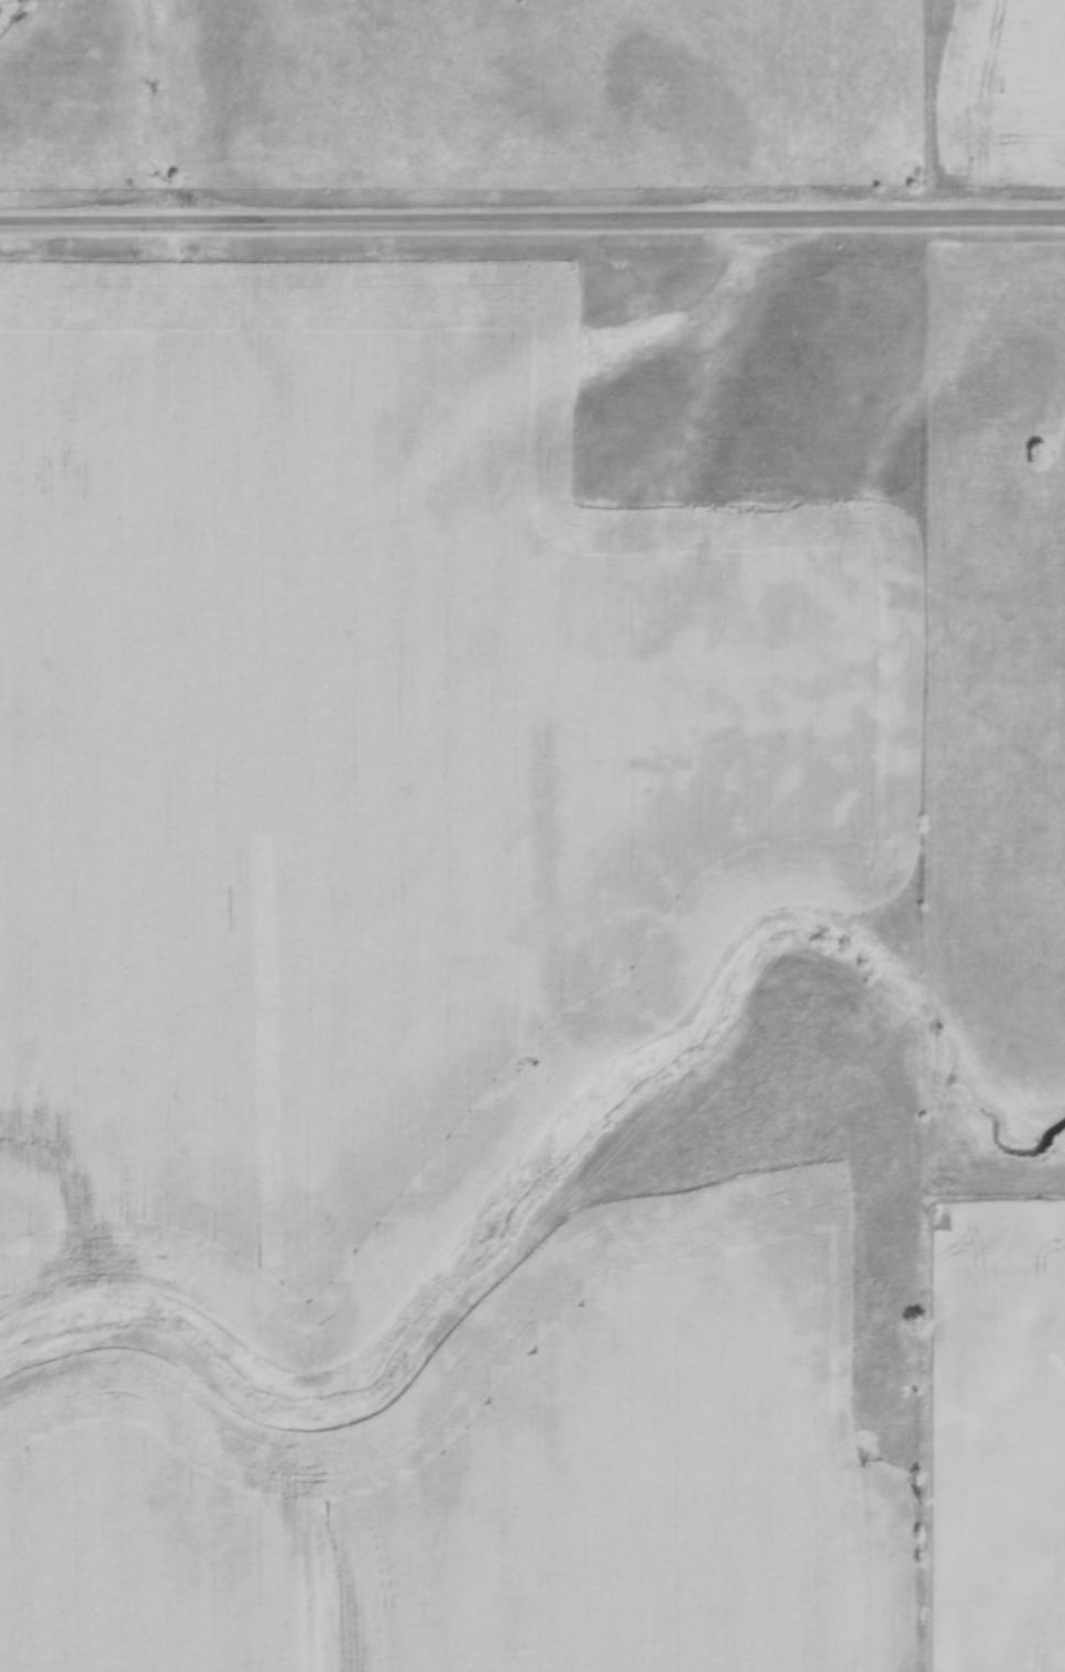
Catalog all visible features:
road: (532, 222)

